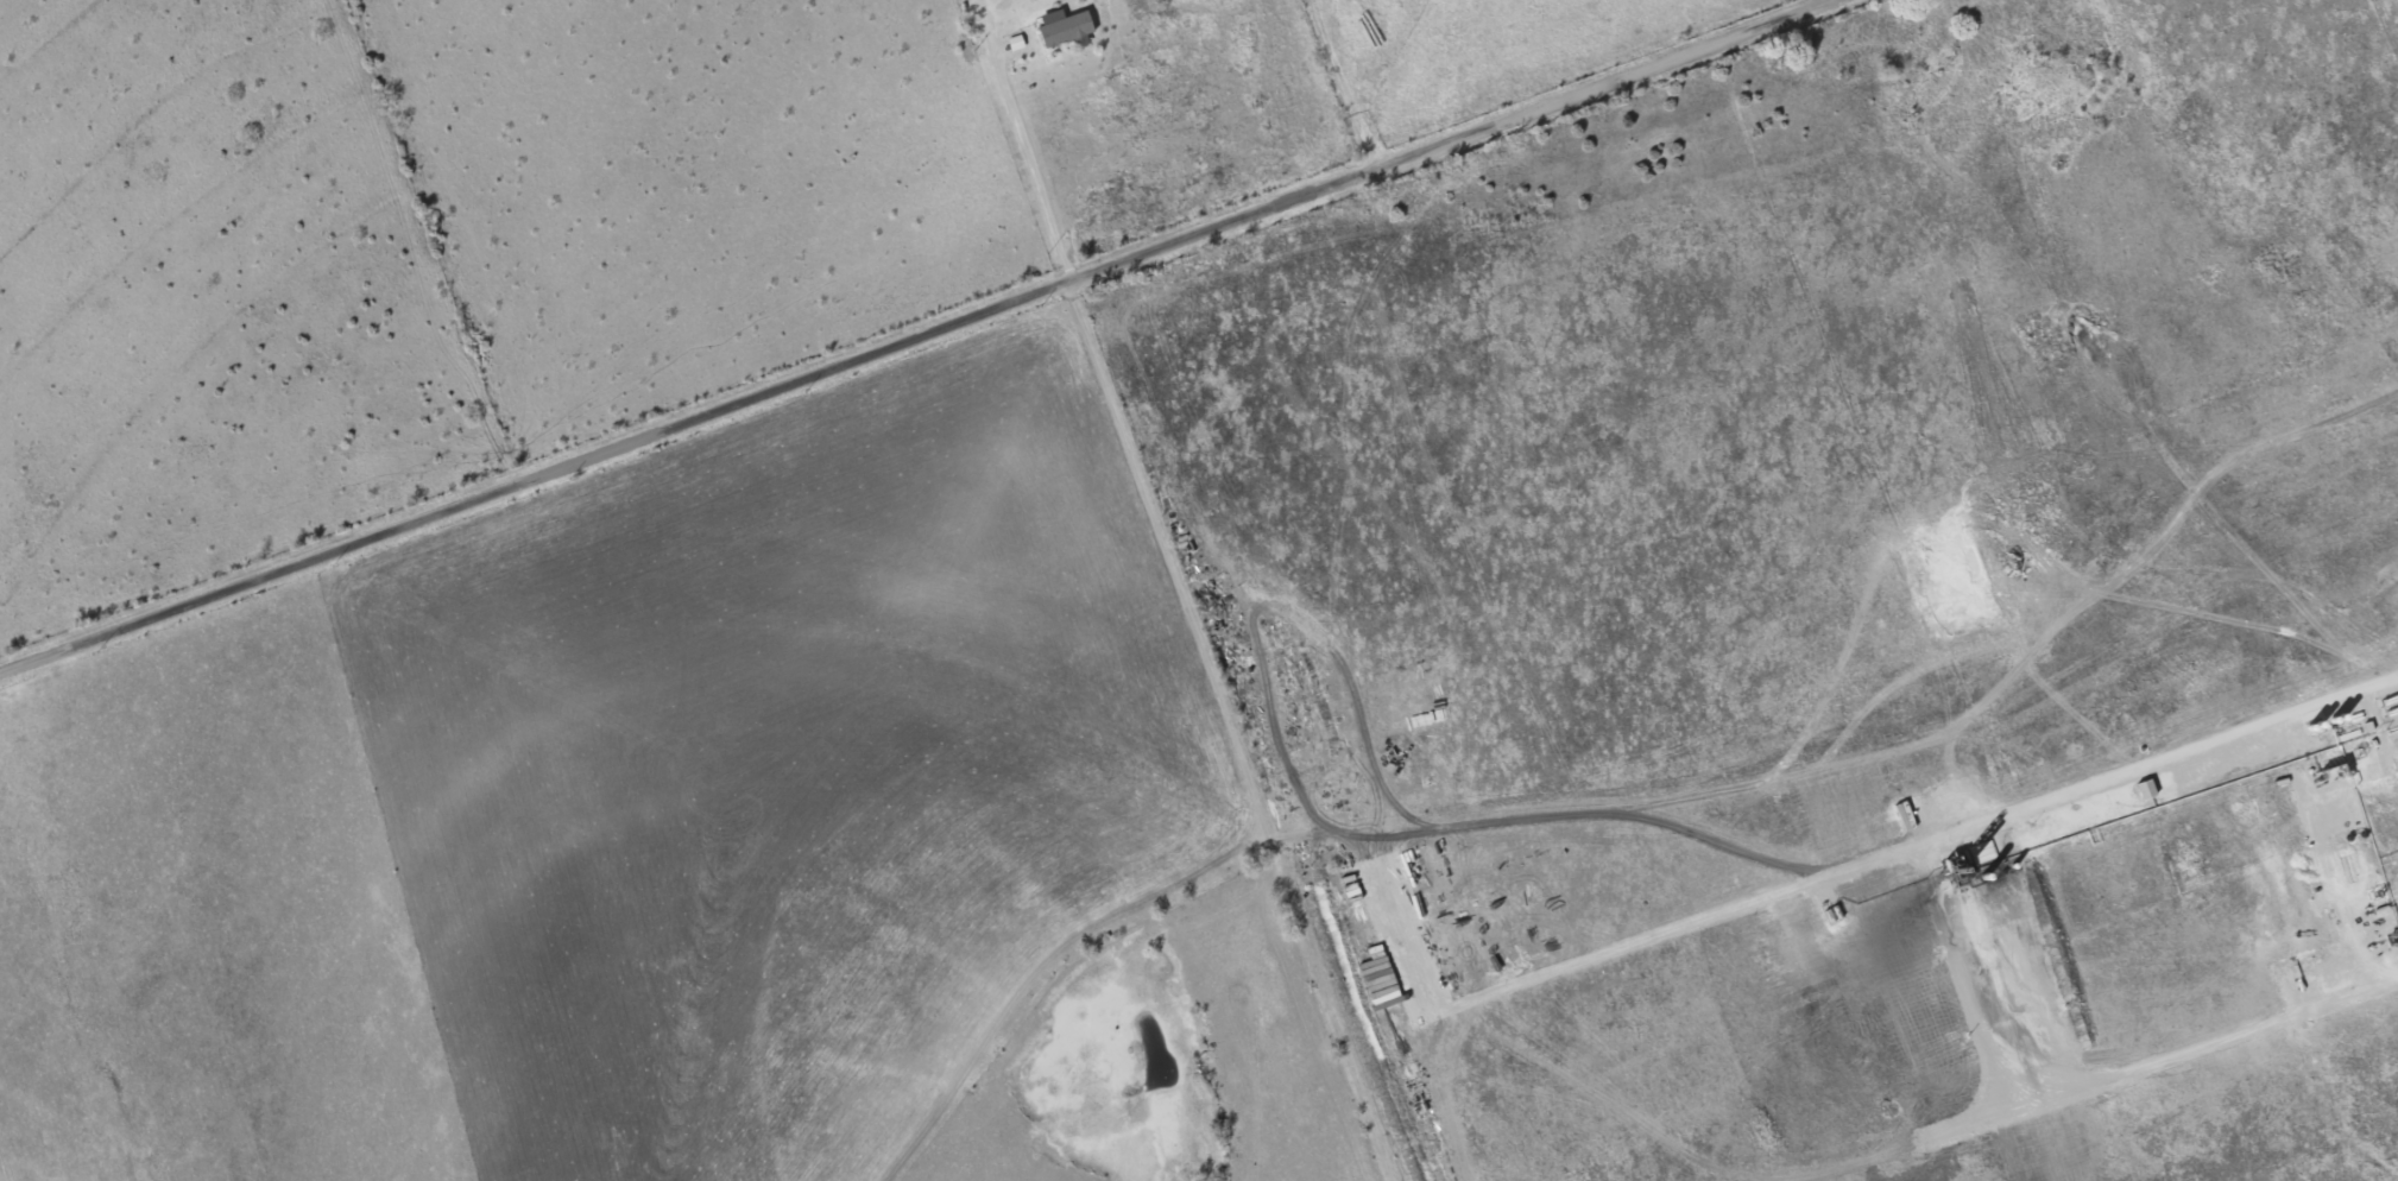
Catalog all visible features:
road: (1342, 83)
road: (1023, 154)
road: (913, 335)
road: (1231, 728)
building: (2141, 789)

